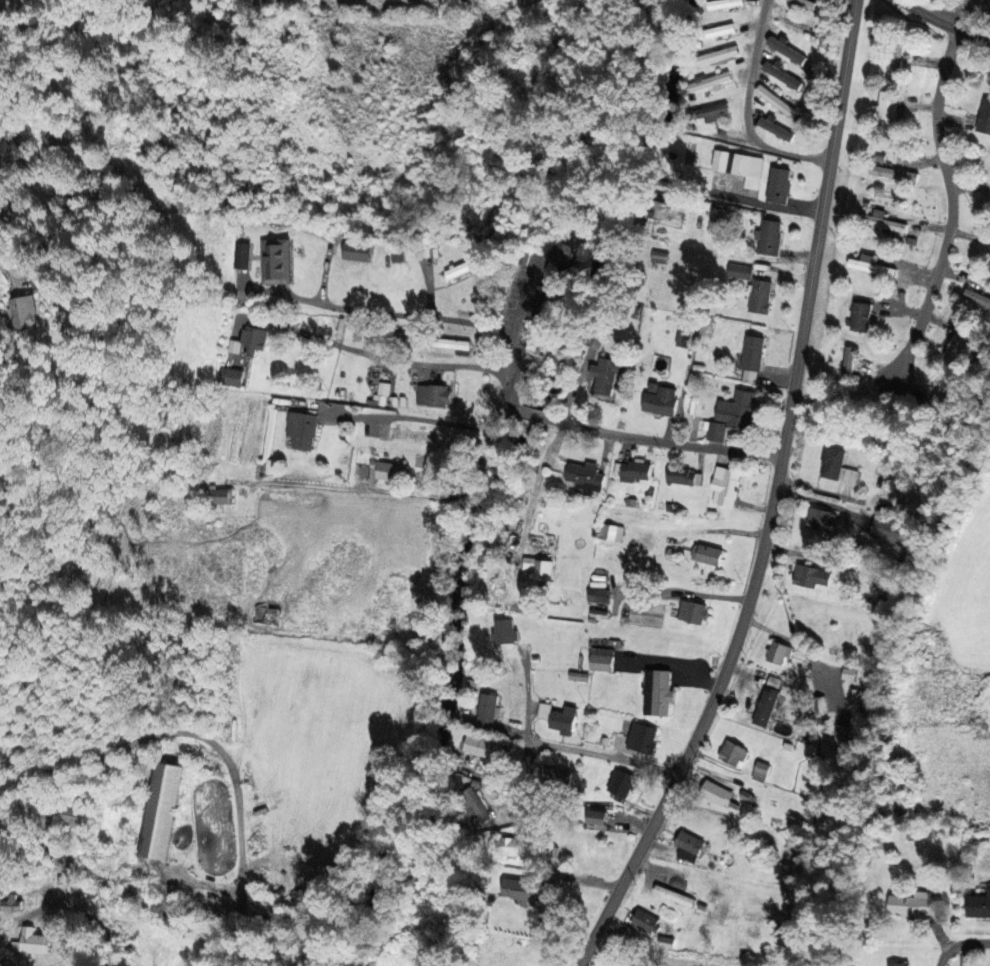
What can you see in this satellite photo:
building: (800, 3)
building: (723, 4)
road: (963, 13)
road: (945, 22)
building: (716, 31)
building: (786, 50)
building: (717, 56)
building: (895, 62)
building: (708, 82)
building: (775, 102)
road: (747, 109)
building: (885, 109)
building: (713, 112)
building: (984, 118)
building: (775, 129)
building: (739, 167)
building: (777, 186)
road: (948, 218)
building: (716, 221)
building: (884, 222)
building: (769, 238)
building: (426, 251)
building: (355, 252)
building: (240, 255)
building: (658, 257)
building: (557, 260)
building: (275, 261)
building: (870, 266)
building: (461, 268)
building: (739, 272)
building: (759, 297)
building: (977, 297)
building: (22, 312)
road: (522, 315)
road: (419, 316)
building: (860, 317)
building: (544, 325)
building: (684, 325)
building: (682, 339)
building: (246, 343)
building: (448, 344)
building: (959, 345)
road: (398, 359)
building: (751, 359)
building: (603, 375)
building: (229, 377)
building: (432, 395)
building: (937, 397)
building: (659, 399)
road: (499, 414)
road: (532, 414)
building: (731, 415)
road: (410, 416)
building: (301, 430)
building: (410, 435)
road: (664, 442)
building: (836, 466)
building: (386, 471)
building: (633, 472)
building: (584, 477)
building: (683, 477)
building: (724, 487)
road: (400, 495)
building: (217, 496)
road: (767, 498)
building: (820, 519)
building: (887, 530)
building: (609, 531)
building: (706, 555)
building: (538, 568)
building: (810, 576)
building: (597, 595)
building: (692, 612)
building: (504, 631)
building: (778, 652)
building: (600, 662)
building: (657, 693)
building: (819, 704)
building: (764, 706)
building: (486, 710)
building: (557, 718)
building: (843, 737)
building: (641, 738)
road: (538, 739)
building: (482, 747)
building: (731, 753)
road: (622, 761)
building: (760, 771)
road: (201, 774)
building: (553, 776)
building: (621, 783)
building: (716, 793)
building: (473, 804)
building: (159, 810)
road: (532, 813)
building: (74, 817)
building: (595, 817)
building: (687, 846)
building: (511, 847)
building: (523, 889)
building: (673, 895)
building: (9, 903)
building: (912, 904)
building: (978, 905)
road: (86, 912)
building: (644, 921)
building: (32, 942)
road: (961, 945)
building: (897, 964)

